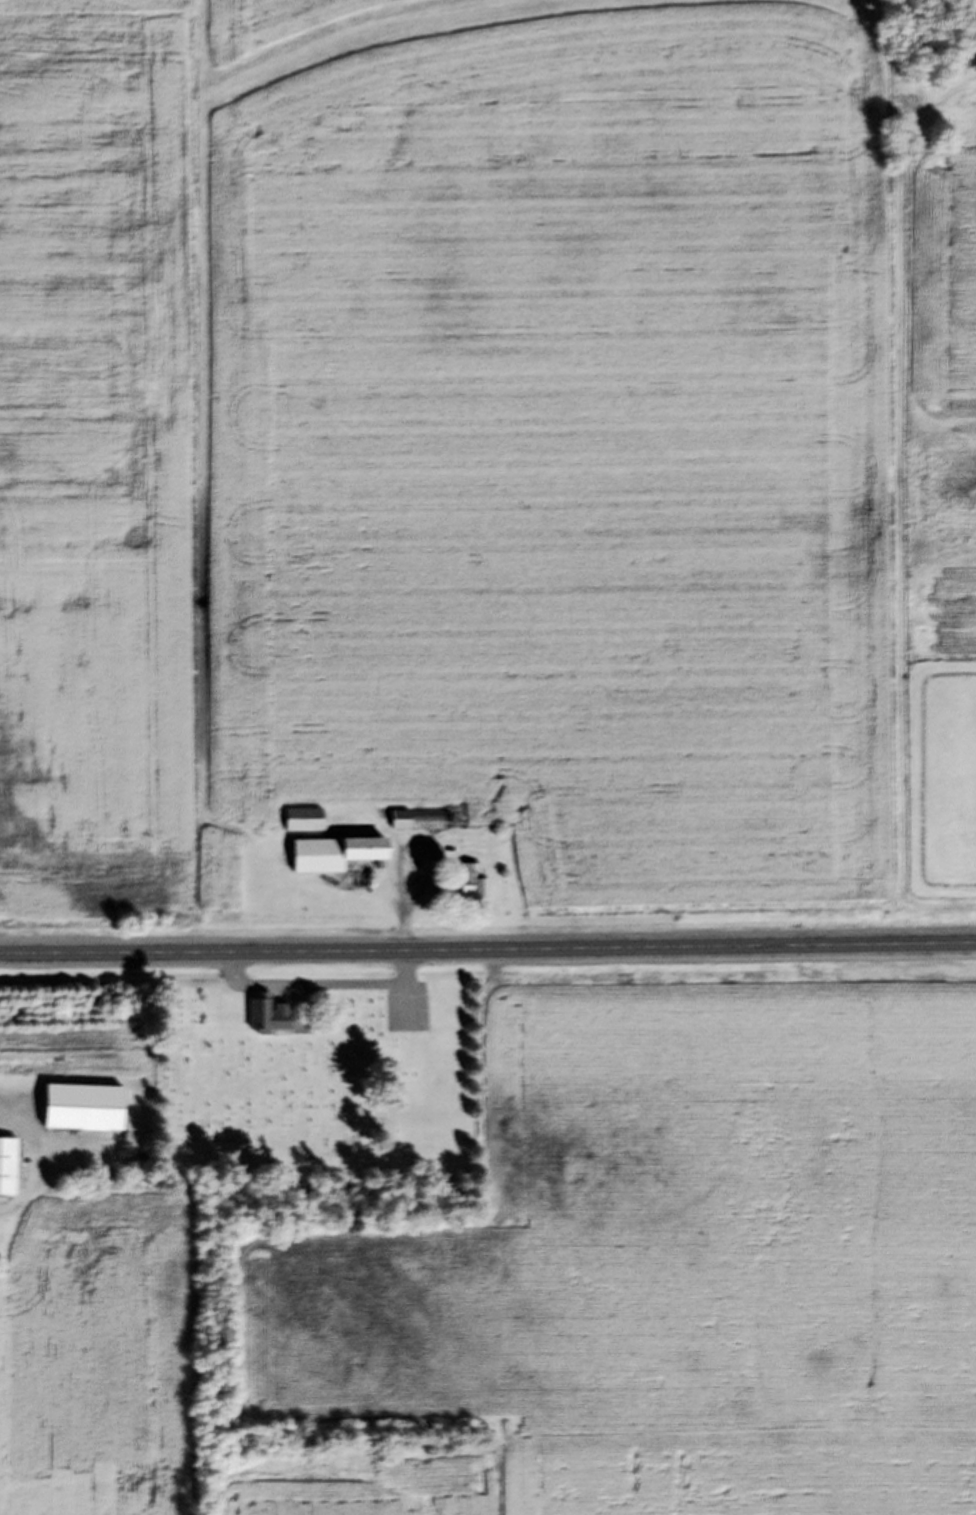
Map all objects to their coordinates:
building: (299, 824)
building: (413, 824)
building: (330, 858)
building: (467, 885)
road: (488, 951)
building: (417, 1015)
building: (265, 1022)
park: (317, 1089)
building: (77, 1113)
building: (5, 1172)

